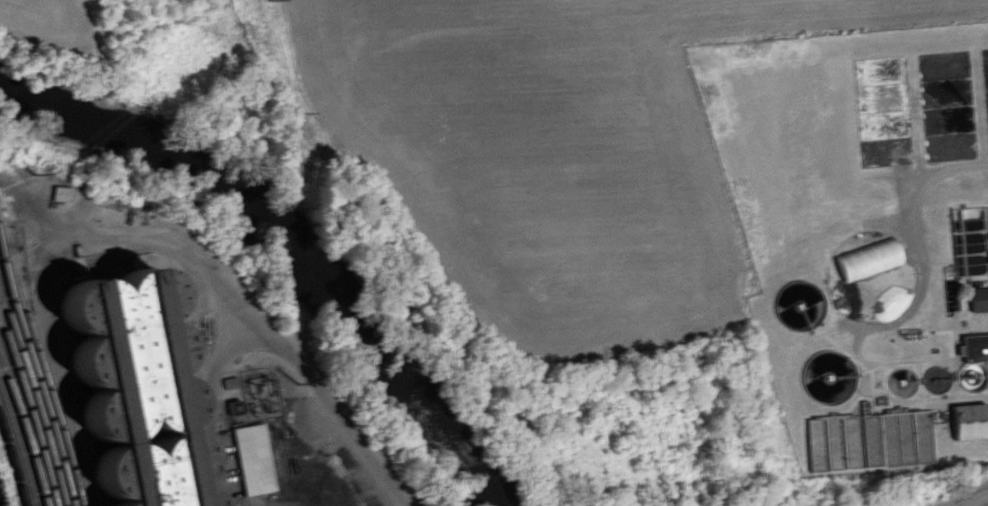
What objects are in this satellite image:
river: (288, 256)
building: (868, 257)
building: (978, 296)
building: (973, 344)
building: (229, 380)
building: (969, 418)
railway: (40, 424)
building: (254, 456)

